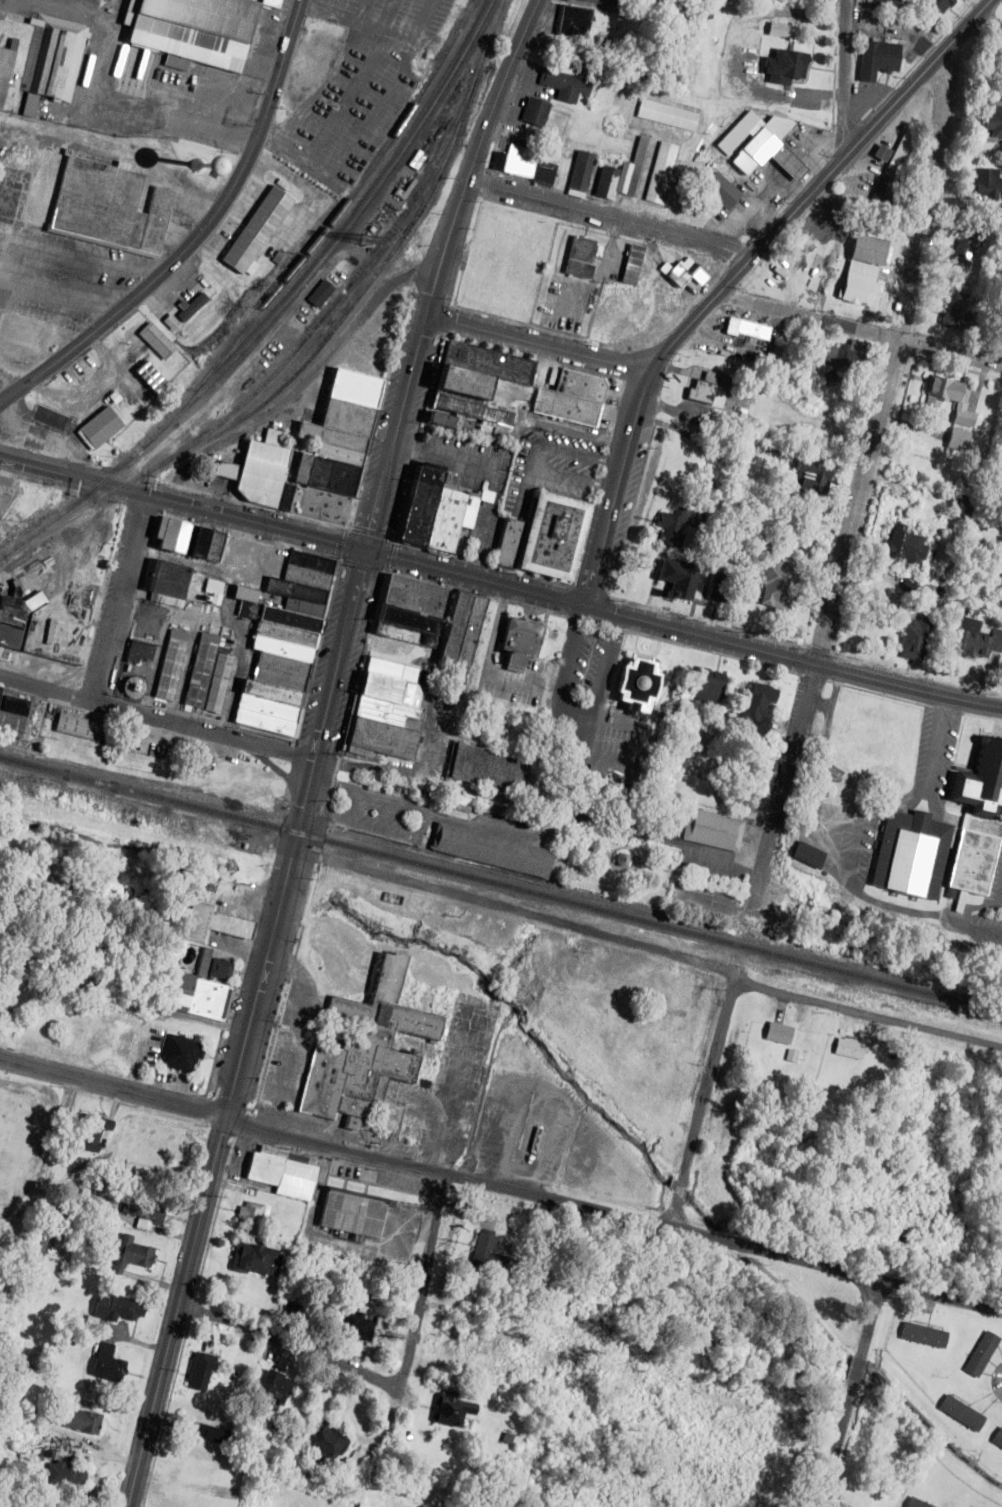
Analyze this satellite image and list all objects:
building: (100, 0)
building: (603, 2)
building: (882, 5)
building: (936, 5)
road: (321, 6)
road: (356, 11)
building: (572, 22)
road: (356, 24)
road: (985, 28)
building: (197, 30)
building: (875, 60)
building: (52, 61)
building: (783, 67)
building: (5, 74)
road: (845, 78)
building: (565, 85)
road: (353, 87)
road: (318, 88)
parking lot: (354, 89)
building: (534, 112)
building: (667, 115)
building: (989, 120)
road: (364, 127)
building: (760, 141)
building: (901, 153)
building: (524, 164)
building: (581, 171)
building: (661, 173)
building: (619, 176)
road: (820, 184)
building: (985, 184)
building: (720, 190)
building: (888, 194)
railway: (352, 195)
building: (111, 207)
road: (611, 216)
railway: (343, 219)
building: (257, 230)
road: (200, 236)
building: (963, 251)
building: (579, 257)
building: (631, 265)
building: (861, 269)
road: (441, 271)
building: (682, 273)
building: (318, 295)
railway: (342, 298)
building: (196, 303)
railway: (281, 309)
building: (955, 311)
building: (643, 317)
building: (746, 329)
road: (860, 331)
building: (1001, 331)
railway: (326, 338)
building: (156, 341)
road: (540, 345)
building: (844, 356)
building: (469, 385)
building: (700, 390)
building: (569, 399)
building: (99, 428)
building: (334, 452)
building: (264, 471)
building: (805, 482)
road: (618, 487)
road: (859, 488)
road: (182, 502)
building: (960, 507)
building: (429, 512)
building: (803, 518)
building: (671, 527)
building: (558, 537)
building: (191, 539)
building: (507, 546)
building: (902, 547)
building: (674, 577)
building: (775, 585)
building: (176, 586)
building: (722, 589)
building: (211, 591)
road: (119, 597)
building: (42, 622)
building: (408, 625)
road: (682, 630)
building: (464, 631)
building: (912, 638)
building: (975, 639)
building: (288, 645)
fountain: (647, 646)
building: (518, 647)
building: (137, 652)
flagpole: (669, 654)
building: (172, 667)
building: (207, 677)
building: (635, 683)
building: (0, 685)
building: (703, 685)
road: (598, 688)
building: (755, 702)
road: (553, 706)
building: (387, 714)
building: (11, 715)
parking lot: (598, 715)
road: (157, 718)
building: (71, 725)
road: (940, 749)
building: (489, 768)
road: (637, 779)
building: (980, 783)
road: (424, 813)
parking lot: (414, 817)
road: (963, 820)
building: (711, 829)
building: (492, 853)
building: (803, 854)
building: (909, 855)
building: (969, 861)
road: (853, 868)
railway: (501, 884)
road: (1000, 902)
road: (966, 909)
road: (974, 933)
road: (647, 950)
building: (204, 965)
road: (248, 1028)
building: (775, 1033)
building: (363, 1048)
building: (846, 1048)
building: (178, 1053)
road: (113, 1087)
road: (702, 1103)
building: (87, 1131)
building: (276, 1174)
building: (139, 1208)
building: (252, 1214)
building: (350, 1214)
road: (613, 1217)
building: (38, 1244)
building: (479, 1250)
building: (126, 1255)
building: (254, 1260)
road: (425, 1284)
building: (109, 1309)
building: (350, 1331)
building: (921, 1335)
road: (281, 1343)
building: (979, 1354)
building: (103, 1364)
building: (199, 1372)
building: (273, 1386)
road: (850, 1394)
building: (447, 1409)
building: (959, 1413)
building: (75, 1421)
building: (210, 1434)
building: (996, 1440)
building: (323, 1443)
building: (62, 1475)
building: (914, 1503)
road: (821, 1506)

